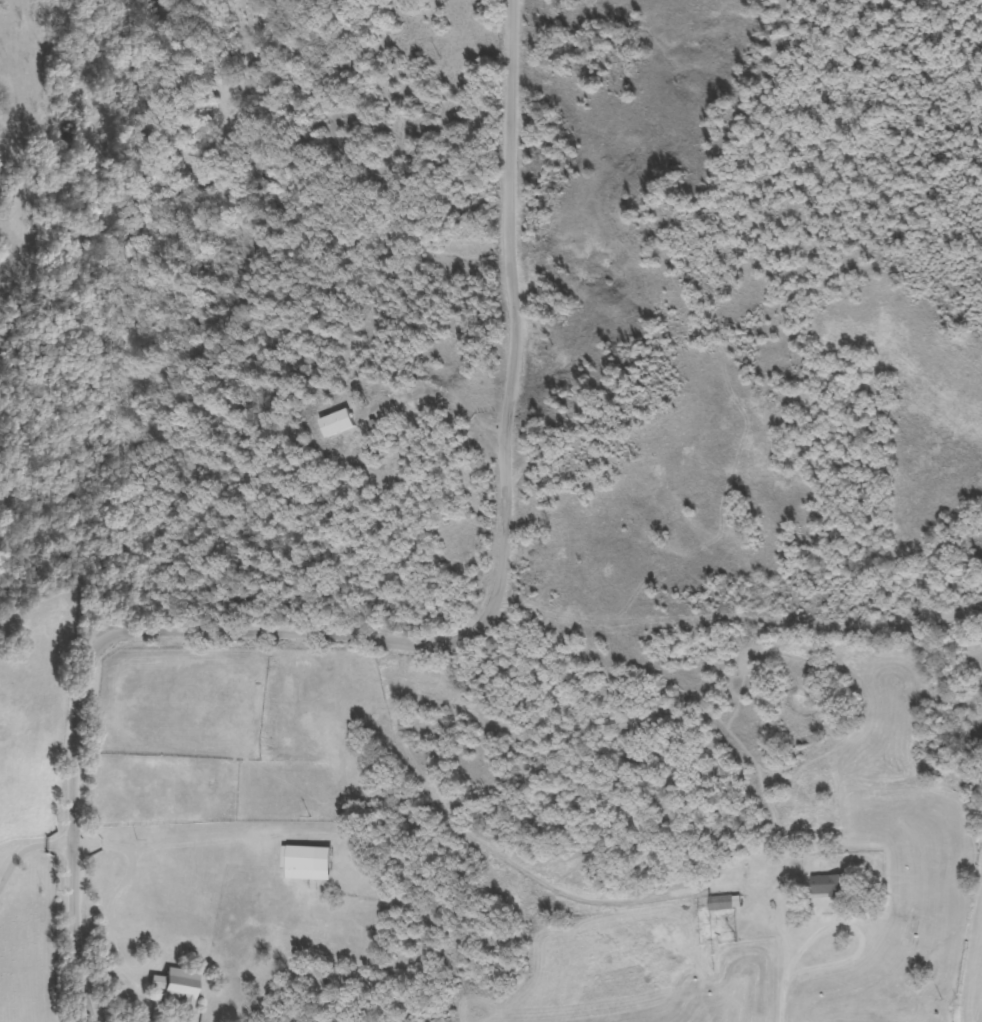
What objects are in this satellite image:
building: (339, 423)
road: (401, 637)
road: (30, 848)
road: (165, 849)
building: (309, 861)
building: (831, 885)
building: (720, 903)
road: (484, 929)
road: (130, 936)
road: (779, 978)
building: (179, 986)

